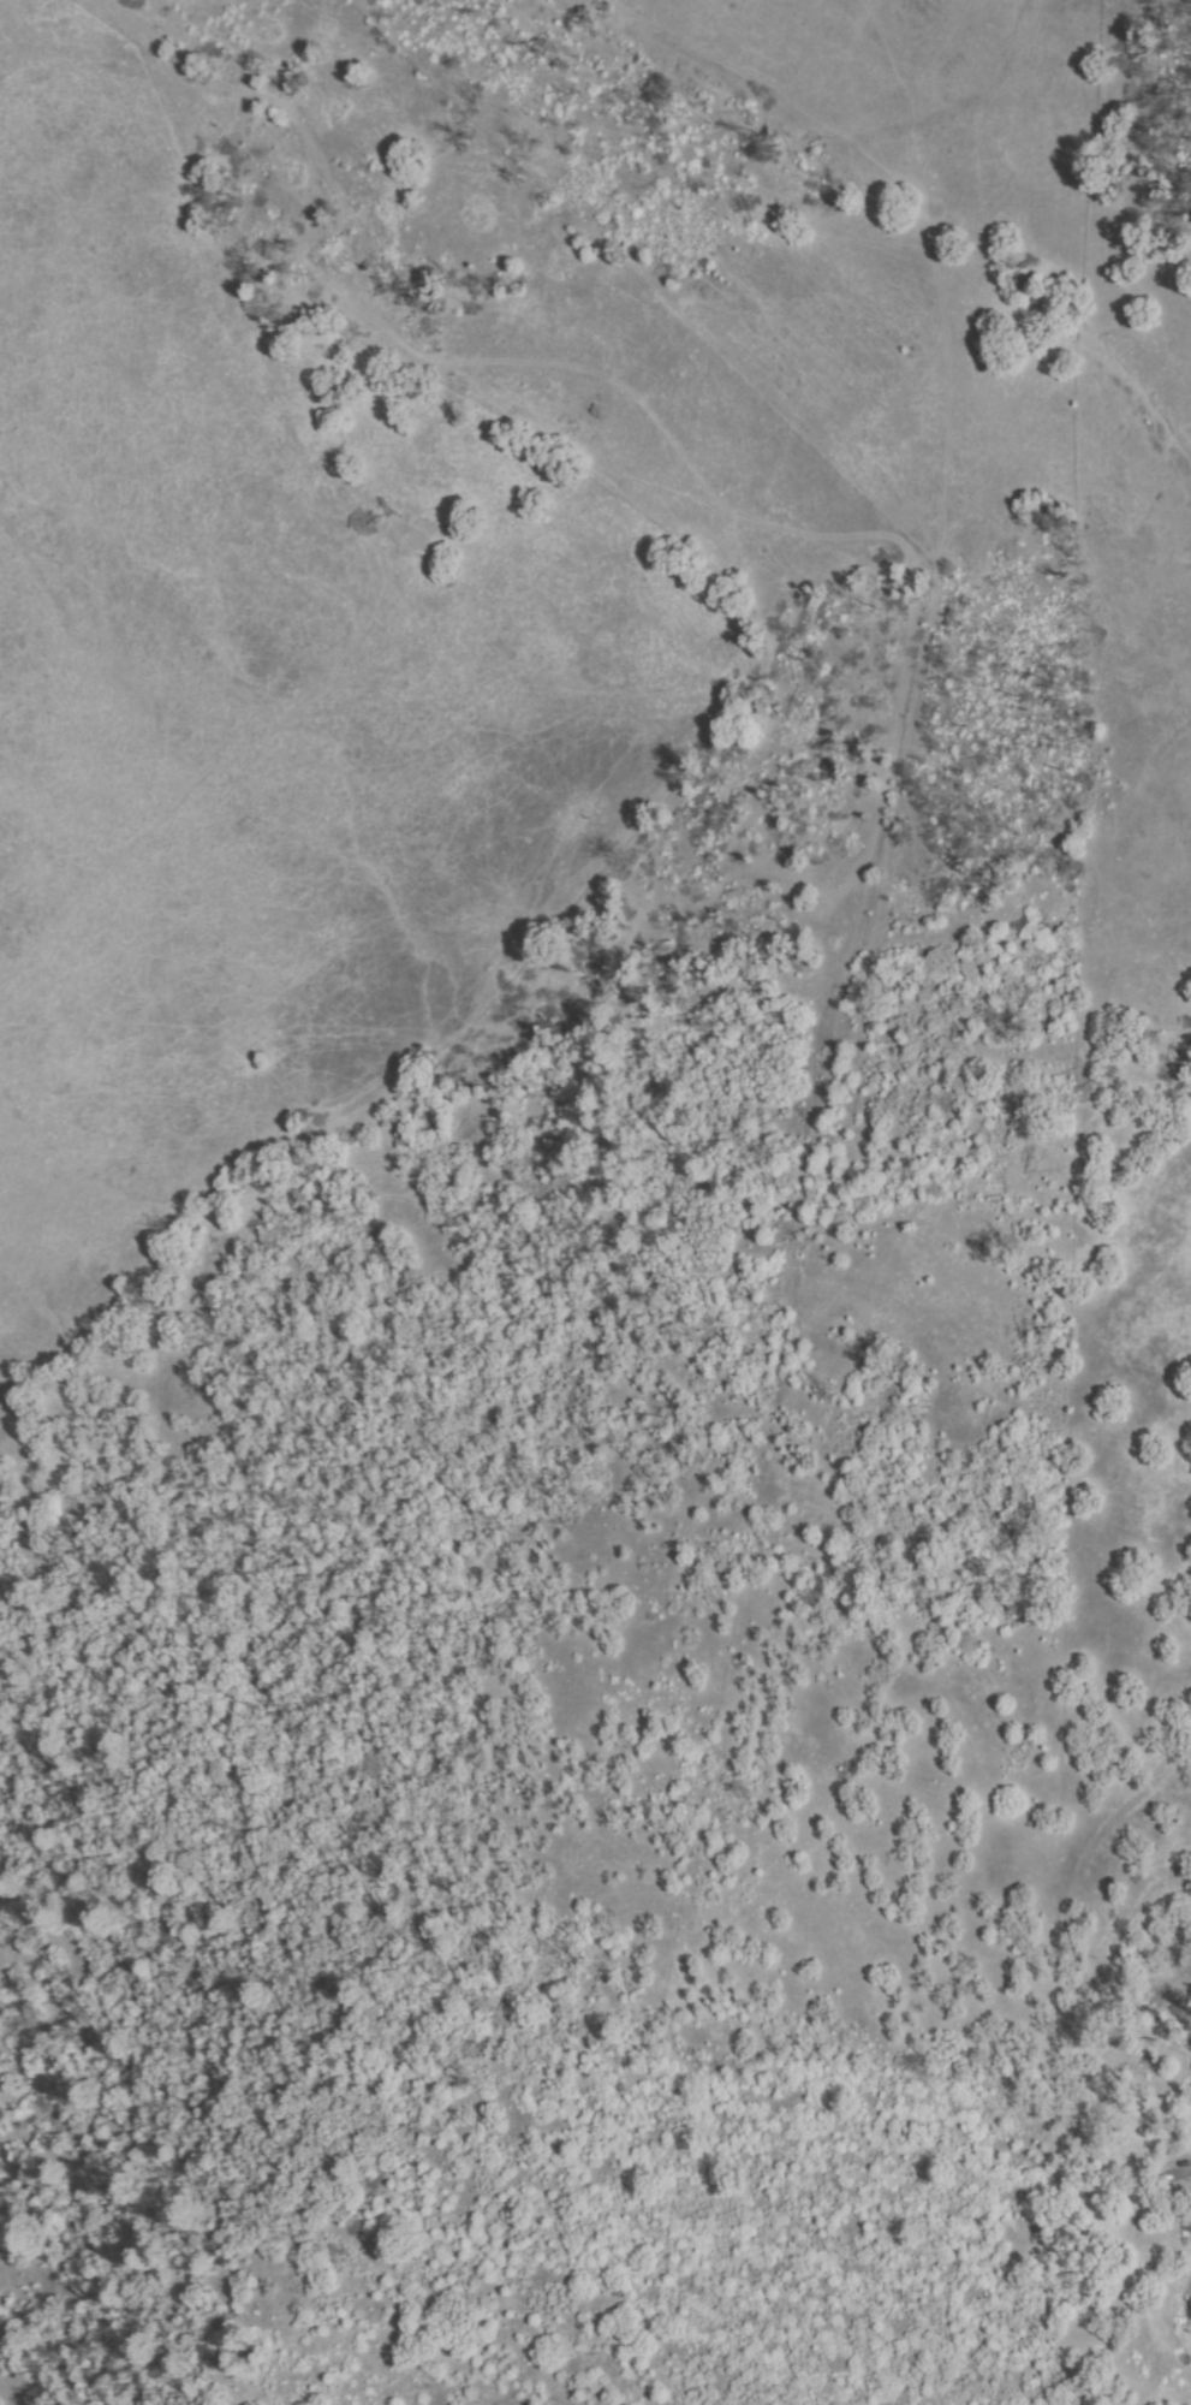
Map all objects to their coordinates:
building: (1187, 2309)
building: (1190, 2334)

